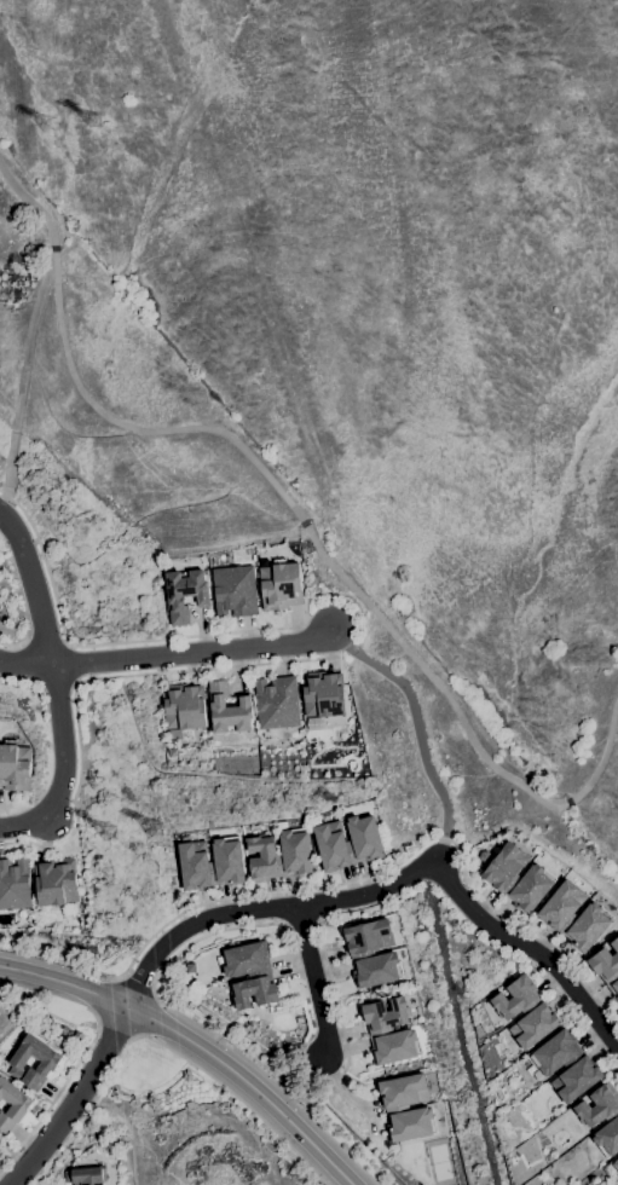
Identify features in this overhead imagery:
power tower: (93, 122)
power tower: (50, 126)
road: (30, 202)
road: (54, 248)
road: (23, 386)
road: (133, 427)
park: (290, 498)
road: (304, 522)
building: (279, 584)
road: (34, 585)
building: (235, 590)
building: (185, 594)
road: (294, 624)
road: (45, 642)
road: (97, 643)
road: (12, 644)
road: (192, 652)
road: (328, 652)
road: (24, 663)
road: (69, 663)
road: (431, 676)
road: (88, 678)
building: (323, 694)
building: (277, 703)
building: (184, 706)
building: (227, 710)
road: (417, 730)
building: (172, 753)
road: (603, 753)
building: (15, 765)
road: (60, 767)
road: (568, 802)
power tower: (155, 831)
power tower: (111, 836)
building: (348, 842)
building: (279, 855)
building: (480, 856)
building: (227, 862)
building: (194, 865)
building: (518, 878)
building: (56, 881)
road: (341, 881)
building: (15, 884)
road: (261, 911)
building: (574, 917)
road: (531, 952)
building: (371, 953)
building: (607, 967)
building: (250, 973)
road: (290, 973)
road: (137, 982)
road: (312, 983)
road: (335, 1001)
park: (12, 1004)
building: (525, 1012)
road: (574, 1017)
road: (186, 1019)
building: (389, 1031)
road: (164, 1047)
road: (192, 1047)
building: (50, 1062)
building: (566, 1065)
road: (340, 1088)
road: (58, 1089)
road: (75, 1102)
building: (12, 1104)
building: (406, 1108)
building: (602, 1117)
building: (0, 1143)
park: (189, 1143)
building: (614, 1164)
building: (86, 1175)

